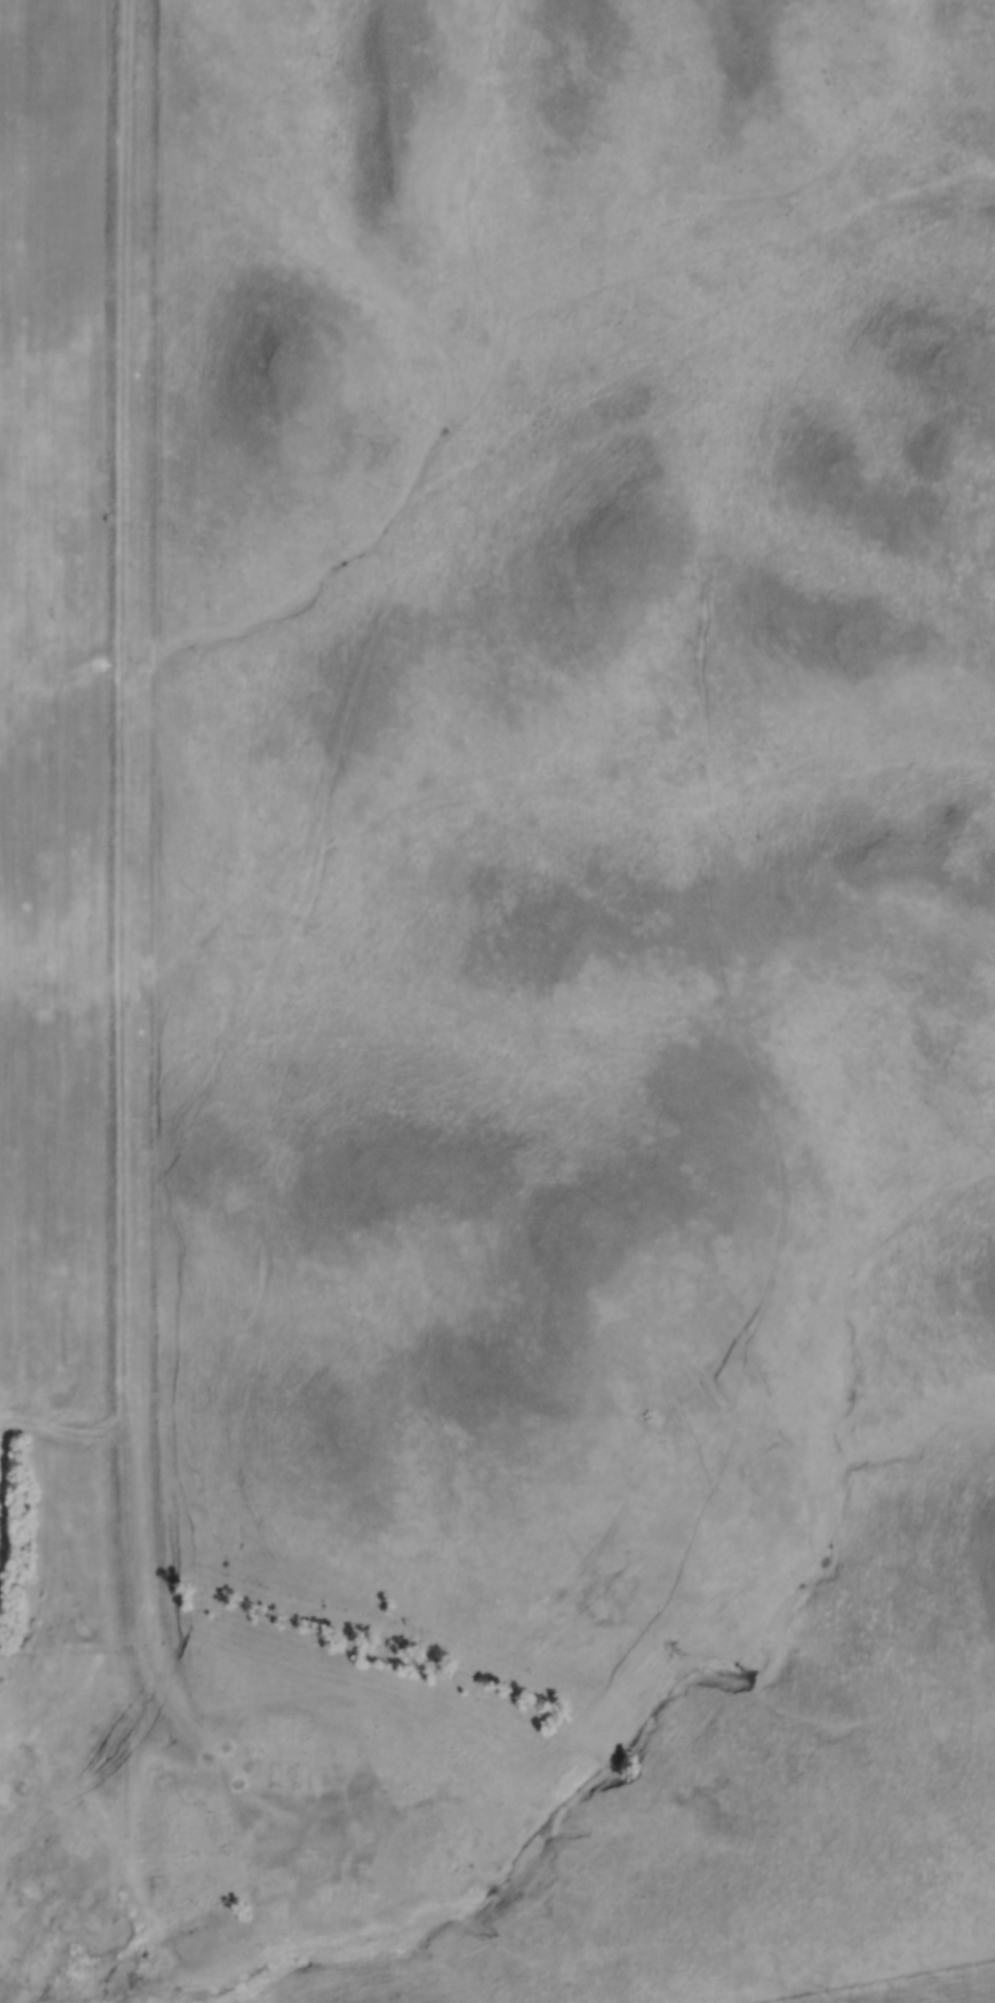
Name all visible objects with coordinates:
road: (125, 816)
road: (63, 1436)

